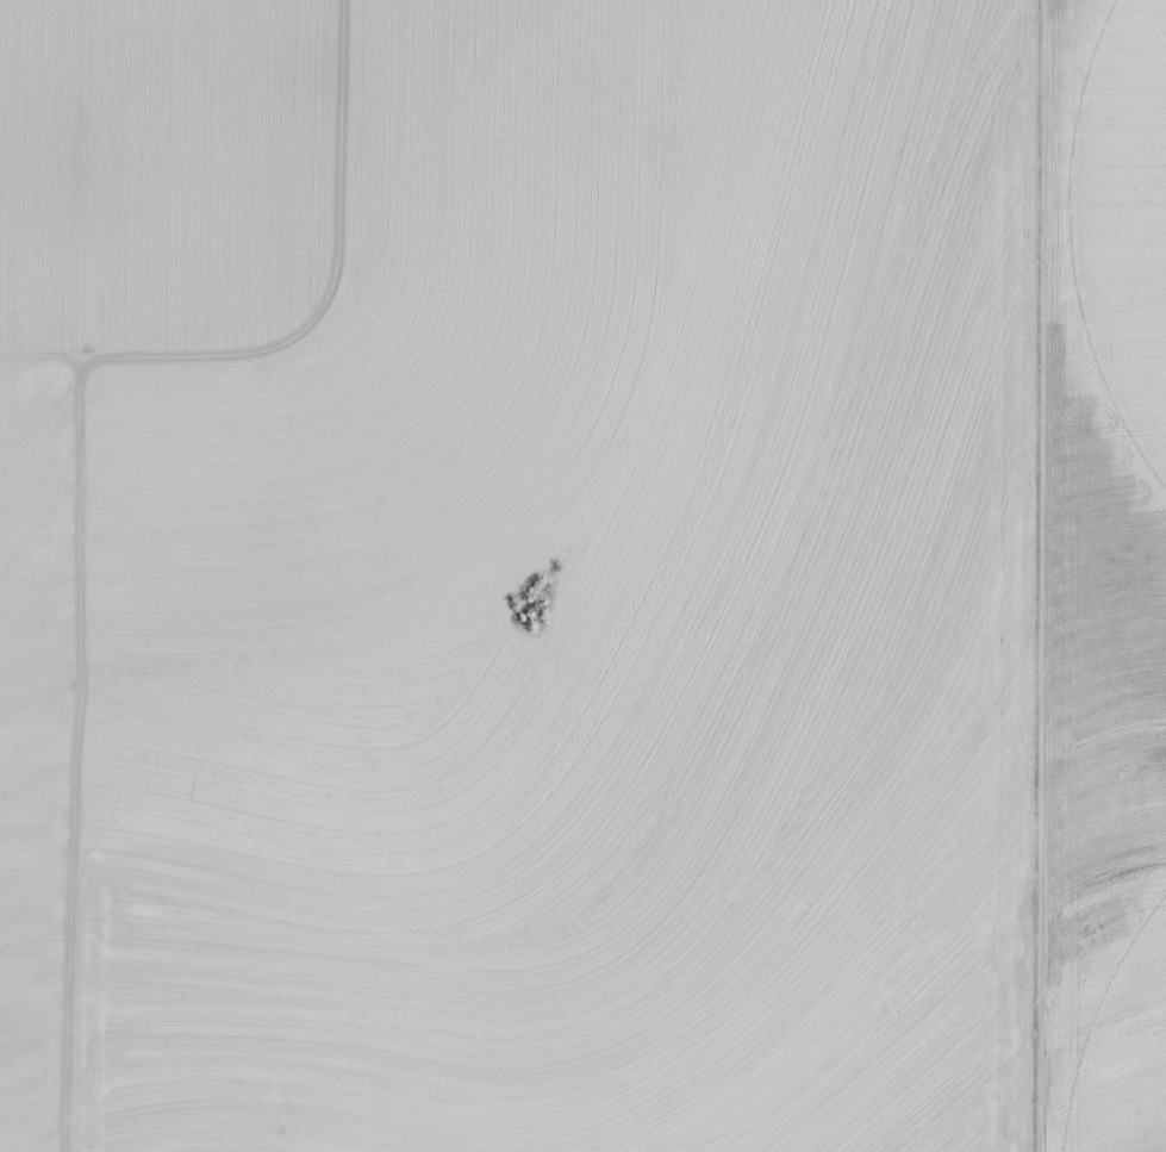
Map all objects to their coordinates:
road: (74, 471)

